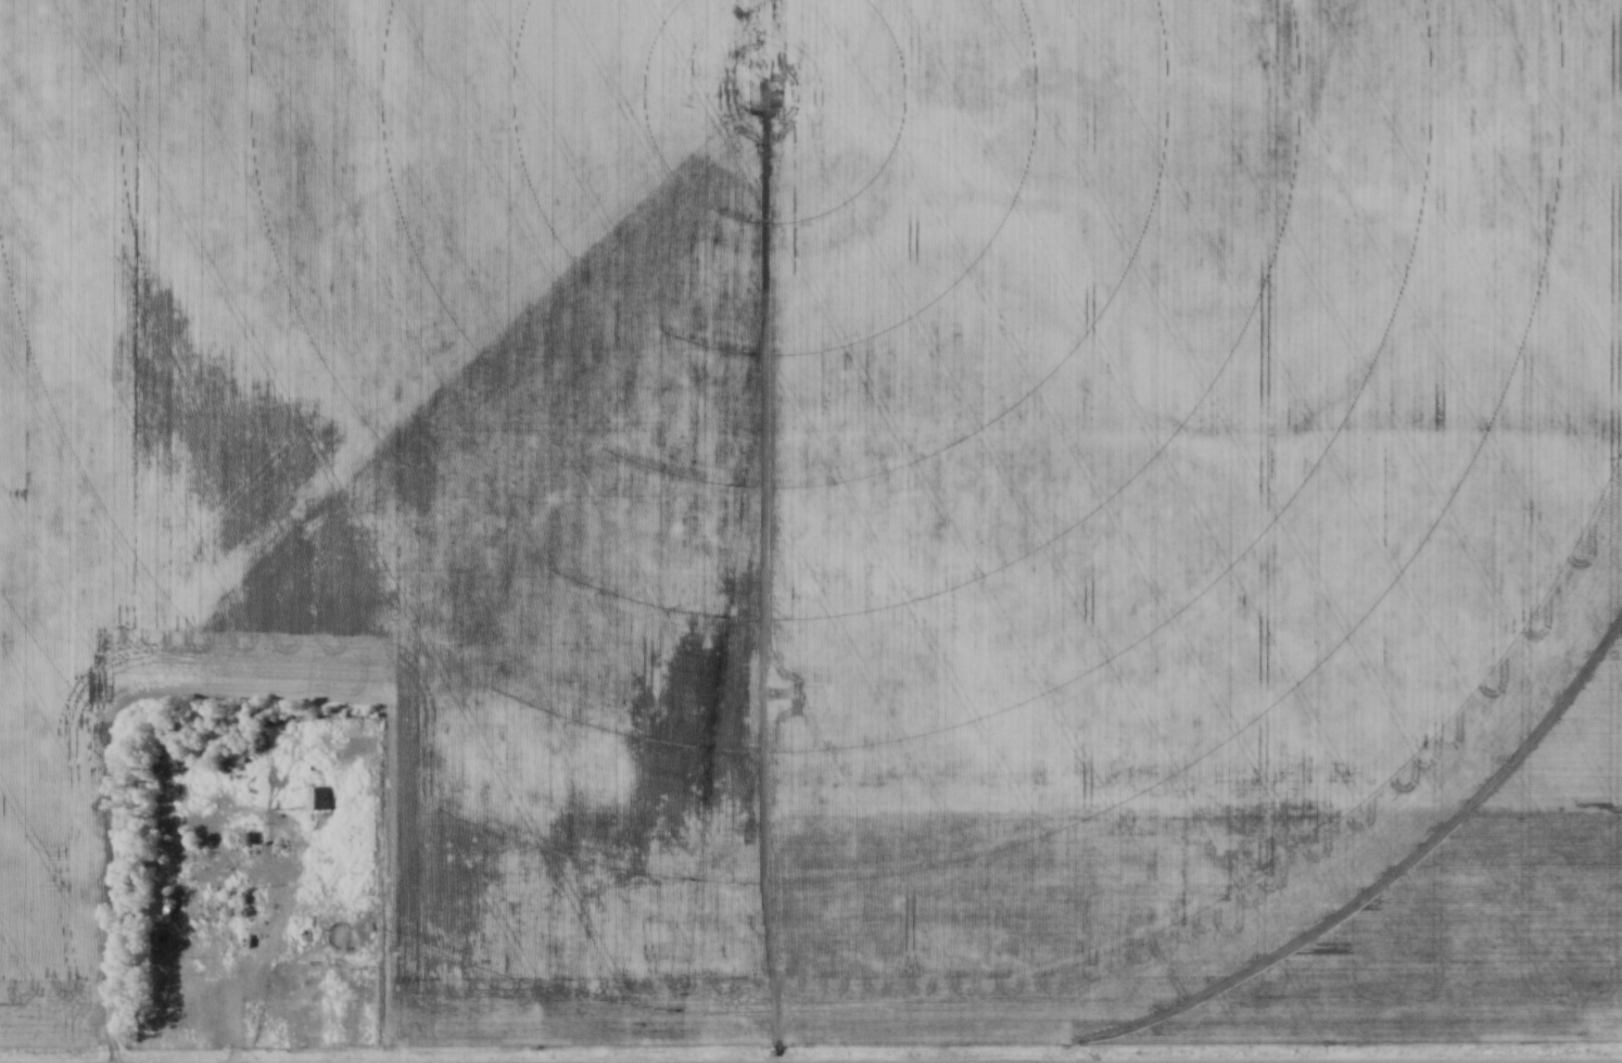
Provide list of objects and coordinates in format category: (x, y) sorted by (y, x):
building: (317, 799)
road: (240, 990)

